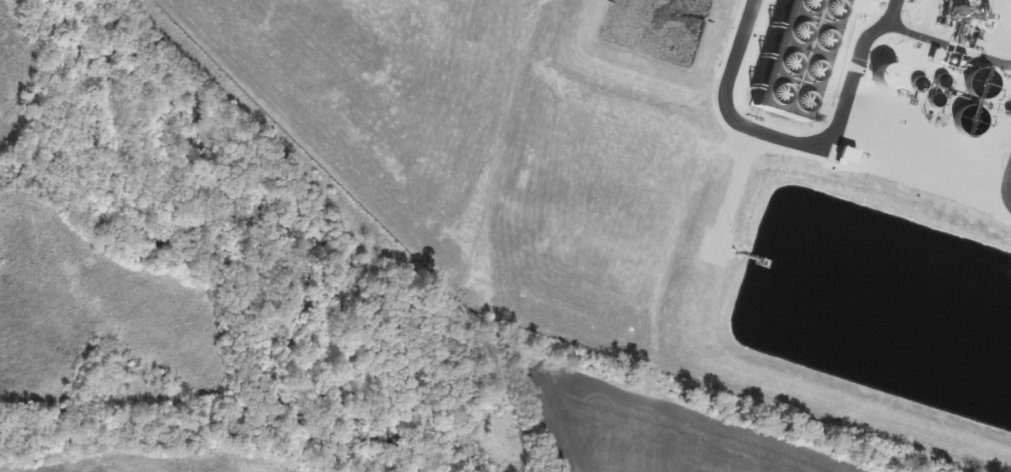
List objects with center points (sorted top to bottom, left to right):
building: (798, 56)
power plant: (690, 181)

